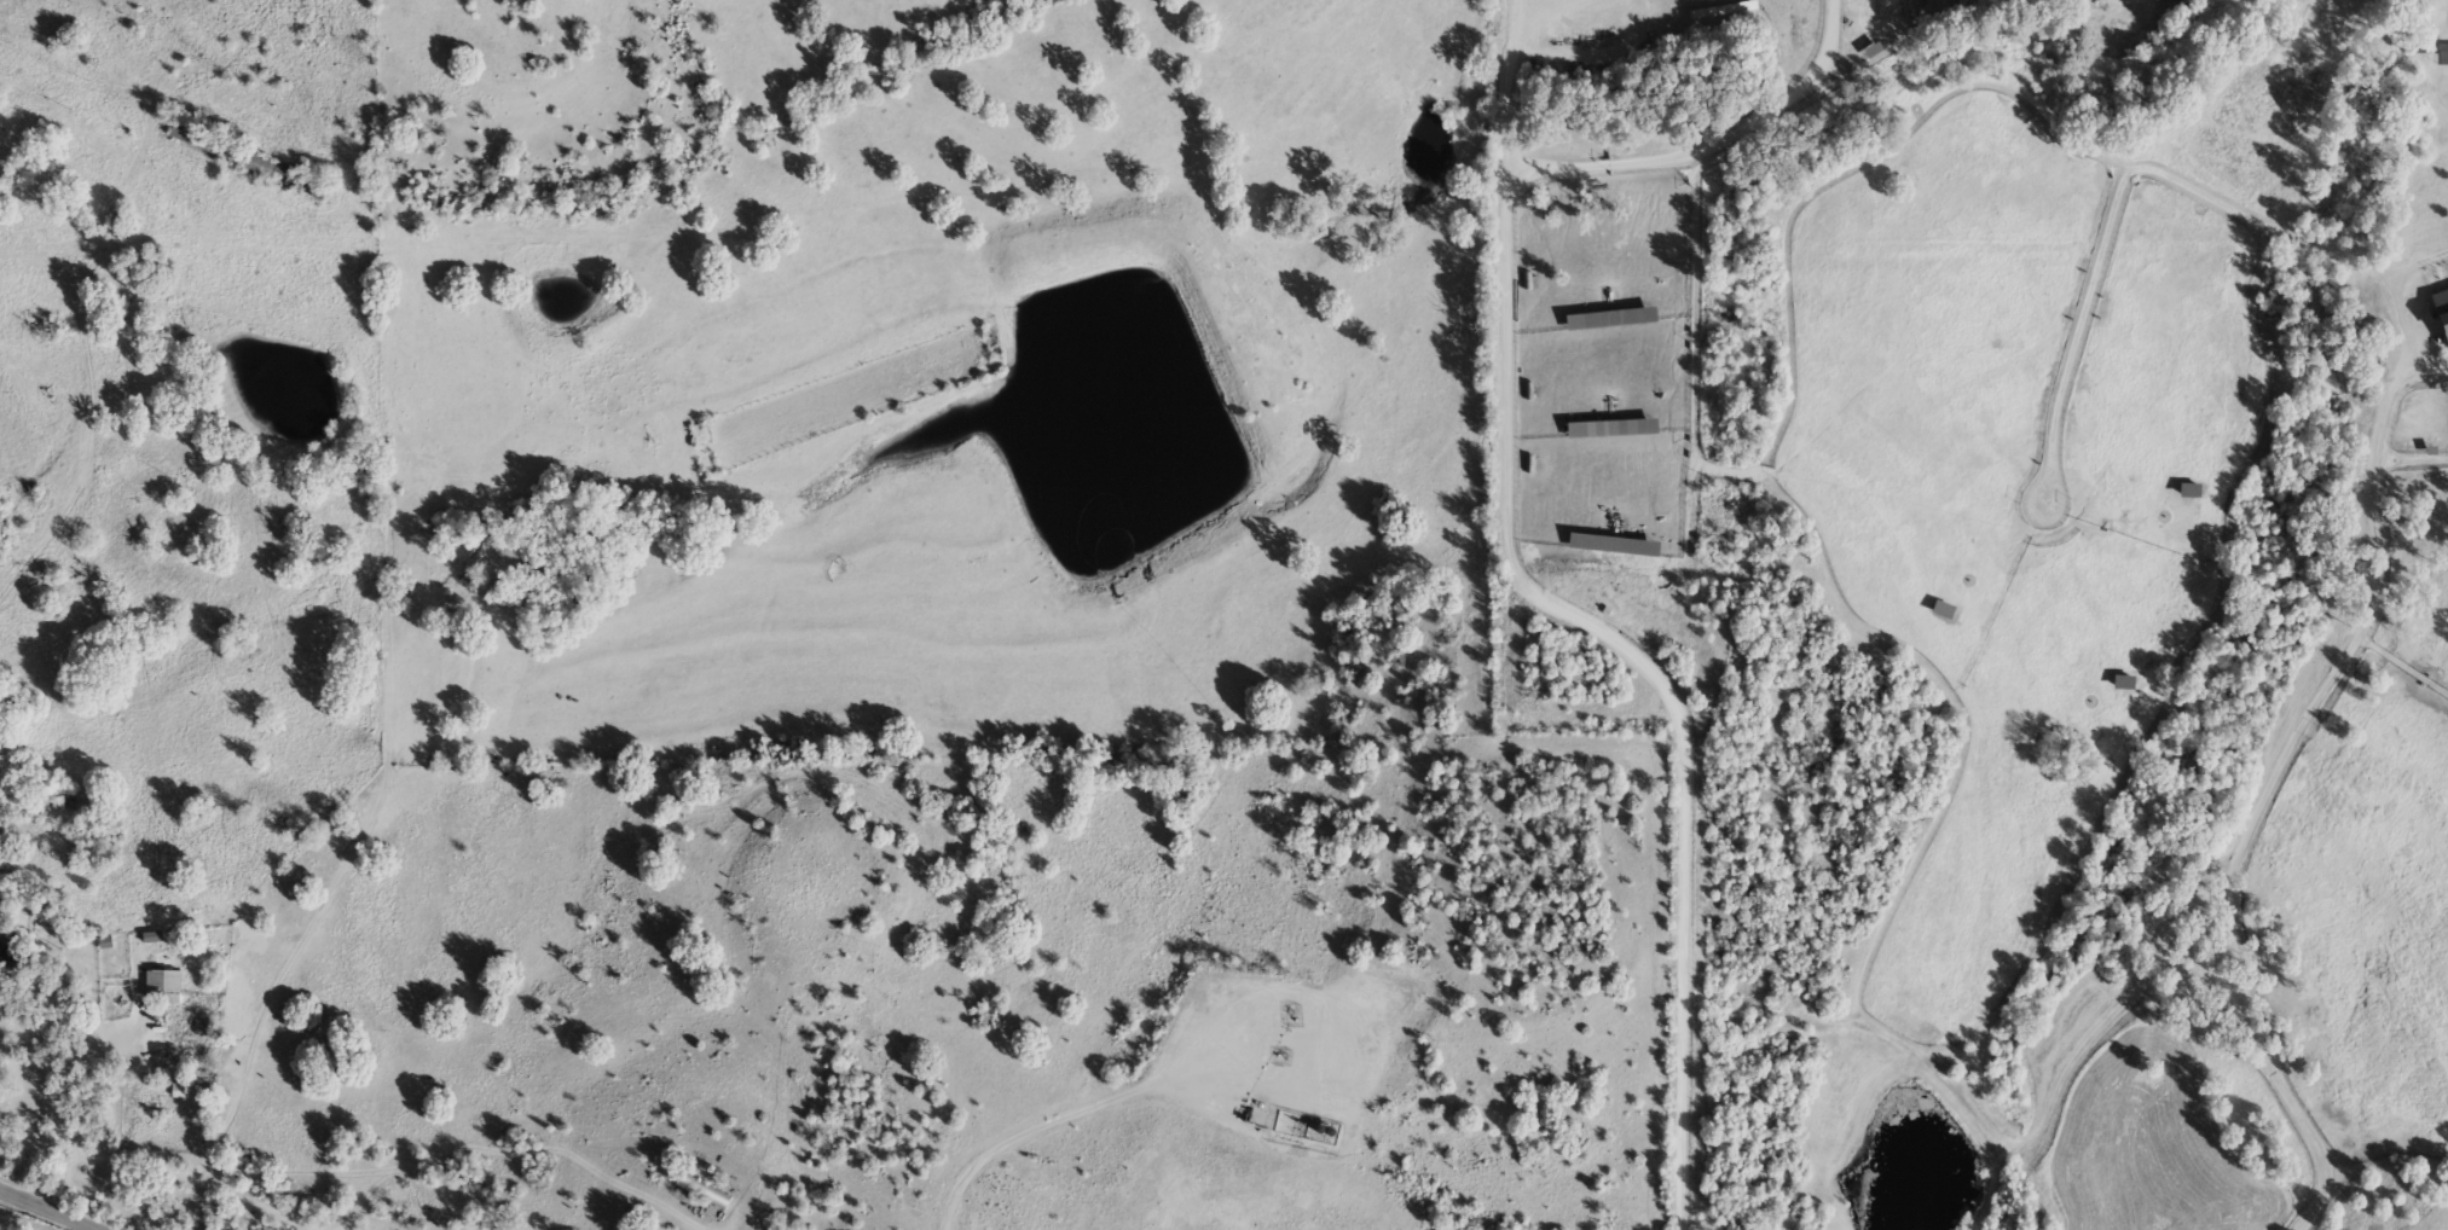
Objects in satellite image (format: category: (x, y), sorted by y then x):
building: (1870, 52)
road: (1505, 82)
road: (138, 151)
building: (247, 159)
road: (2397, 306)
building: (2441, 311)
building: (1610, 320)
building: (1611, 429)
road: (74, 474)
building: (2188, 492)
road: (1507, 541)
building: (1614, 545)
building: (1943, 610)
building: (2122, 683)
road: (2267, 796)
building: (163, 984)
road: (257, 1029)
road: (1036, 1129)
road: (28, 1143)
road: (551, 1143)
road: (285, 1170)
building: (701, 1191)
road: (360, 1199)
road: (257, 1201)
road: (46, 1208)

